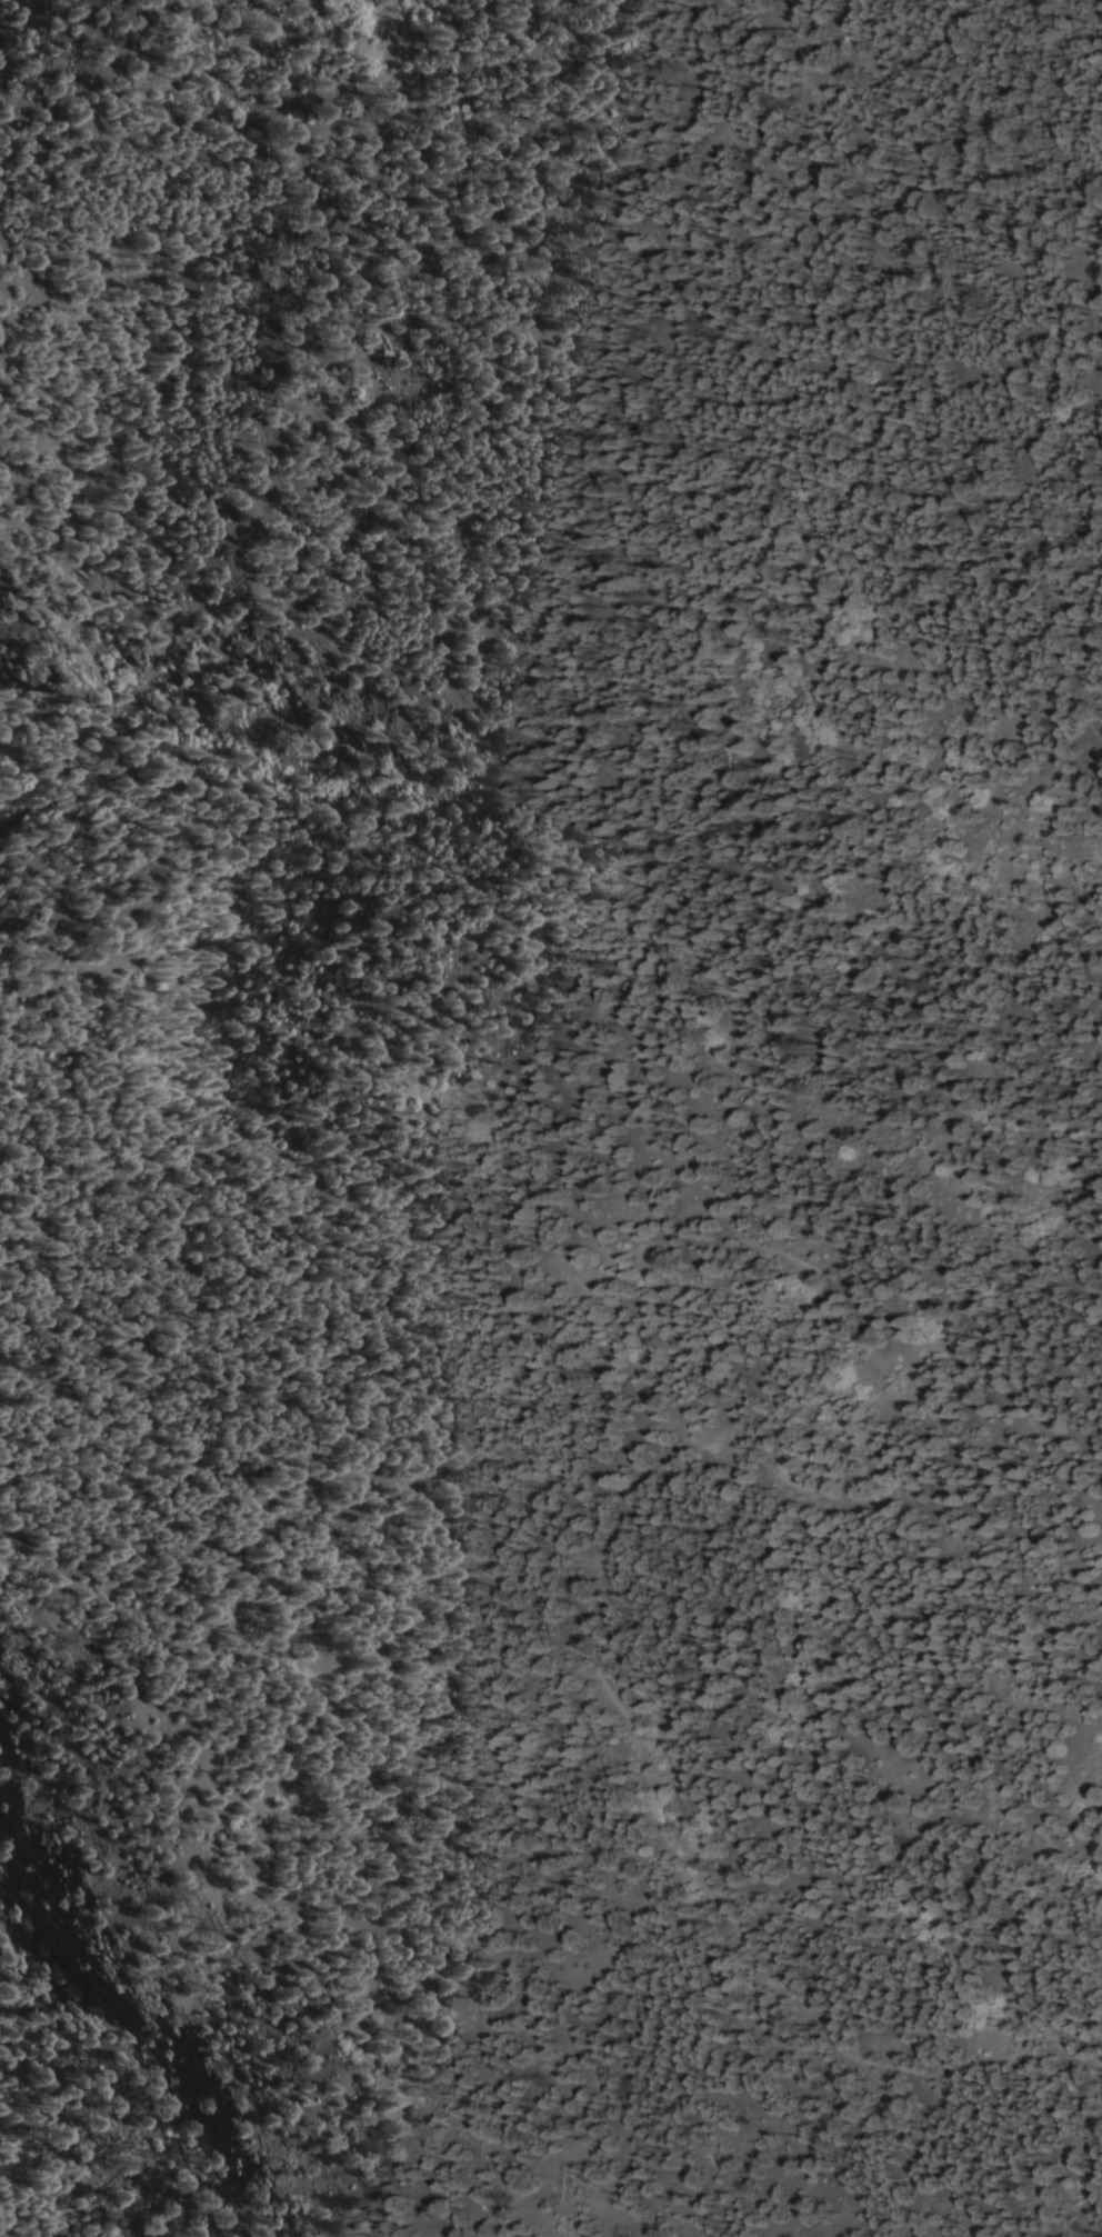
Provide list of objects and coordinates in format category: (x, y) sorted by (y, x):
road: (1099, 1868)
road: (632, 2197)

